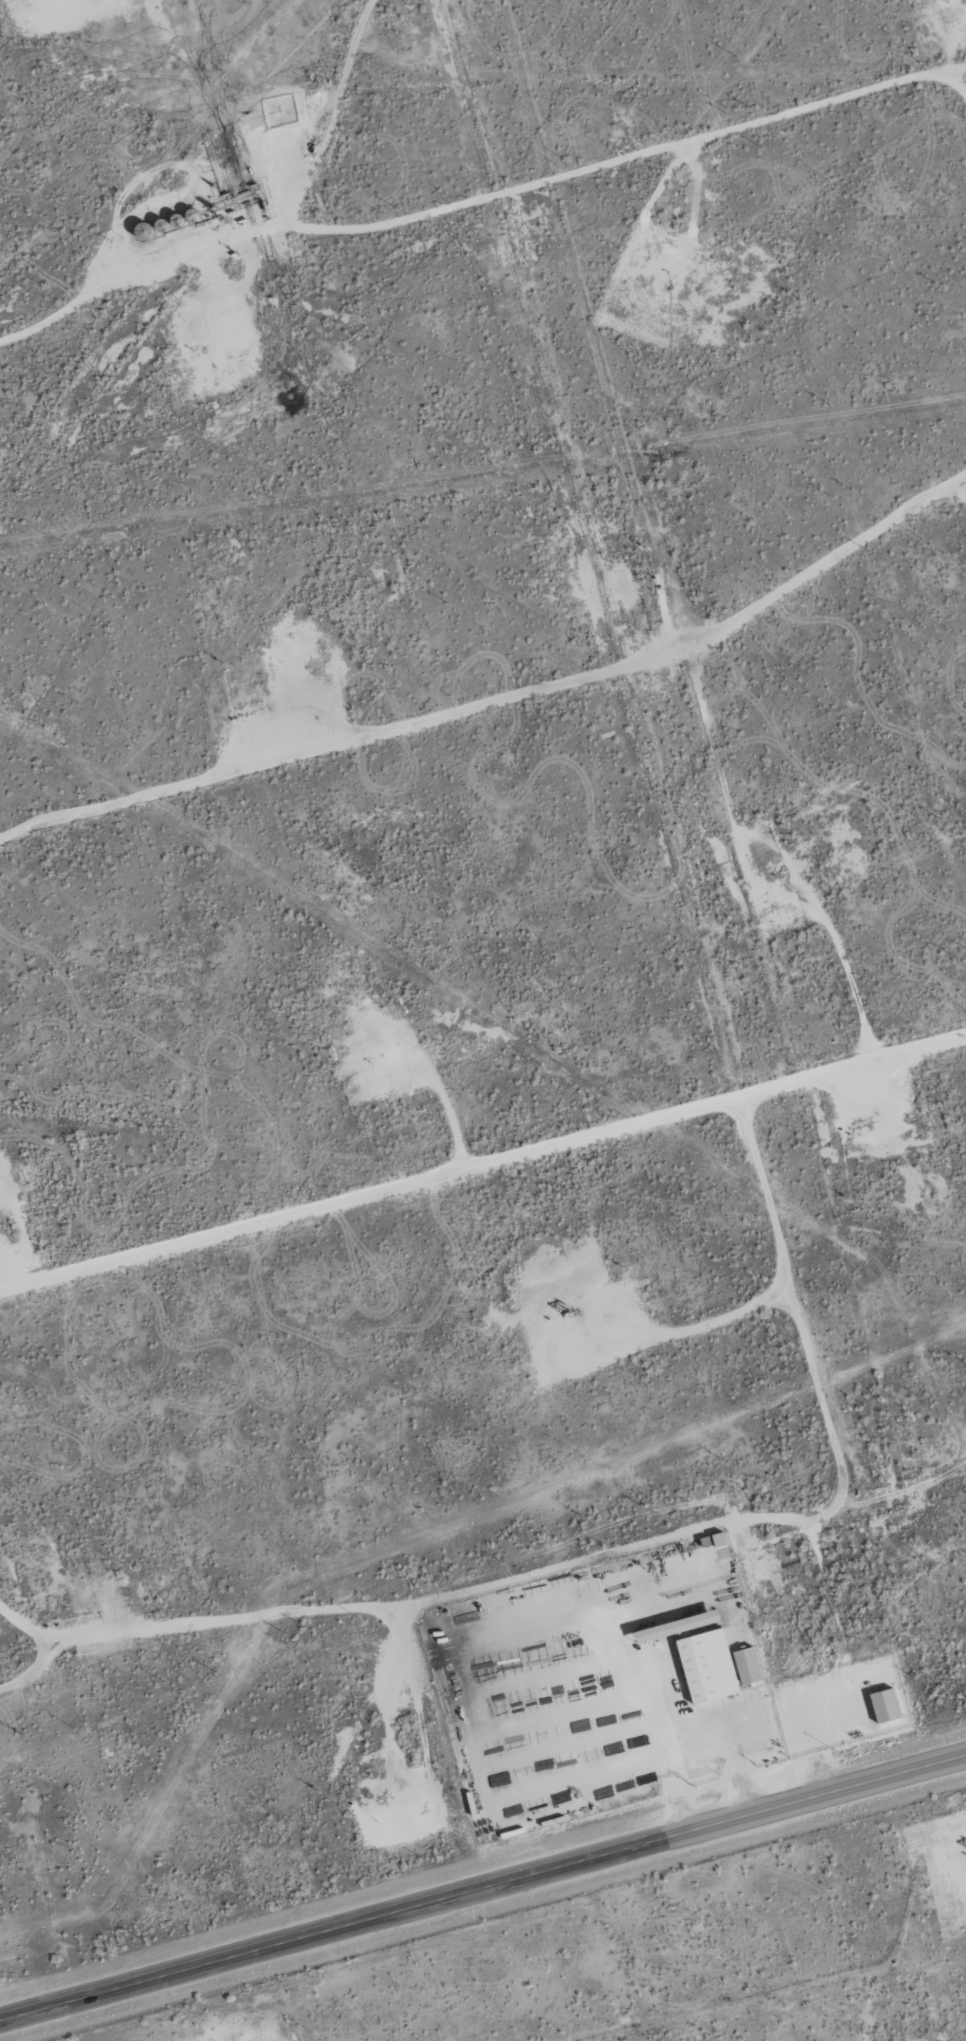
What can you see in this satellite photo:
building: (716, 1543)
building: (707, 1665)
building: (747, 1665)
building: (884, 1705)
road: (482, 1886)

